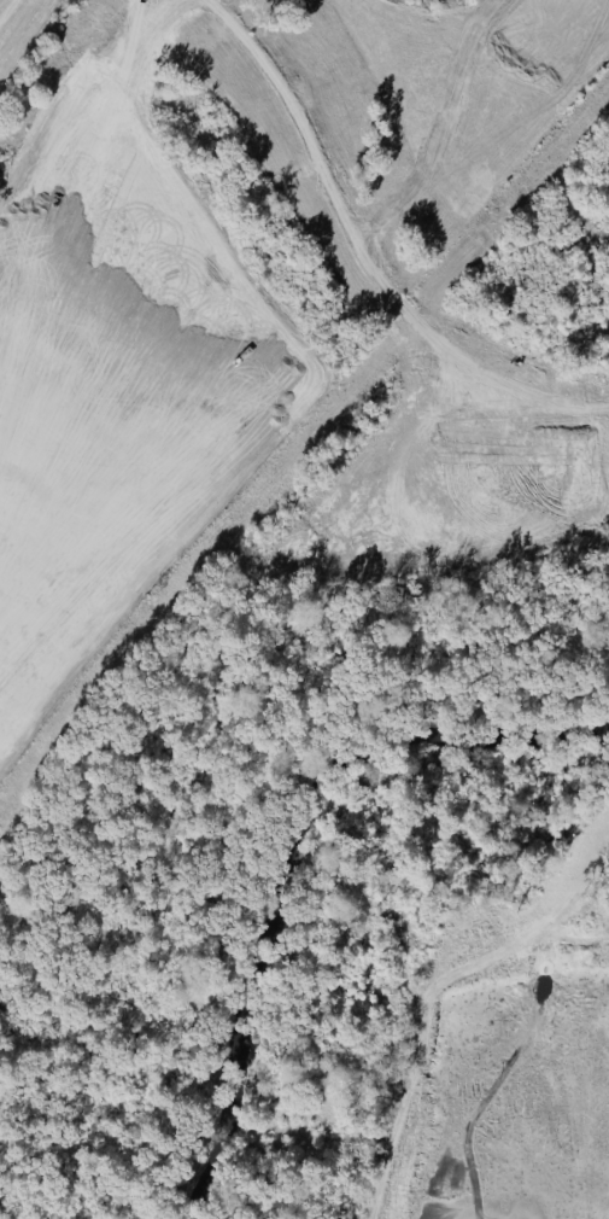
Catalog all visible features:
river: (300, 858)

